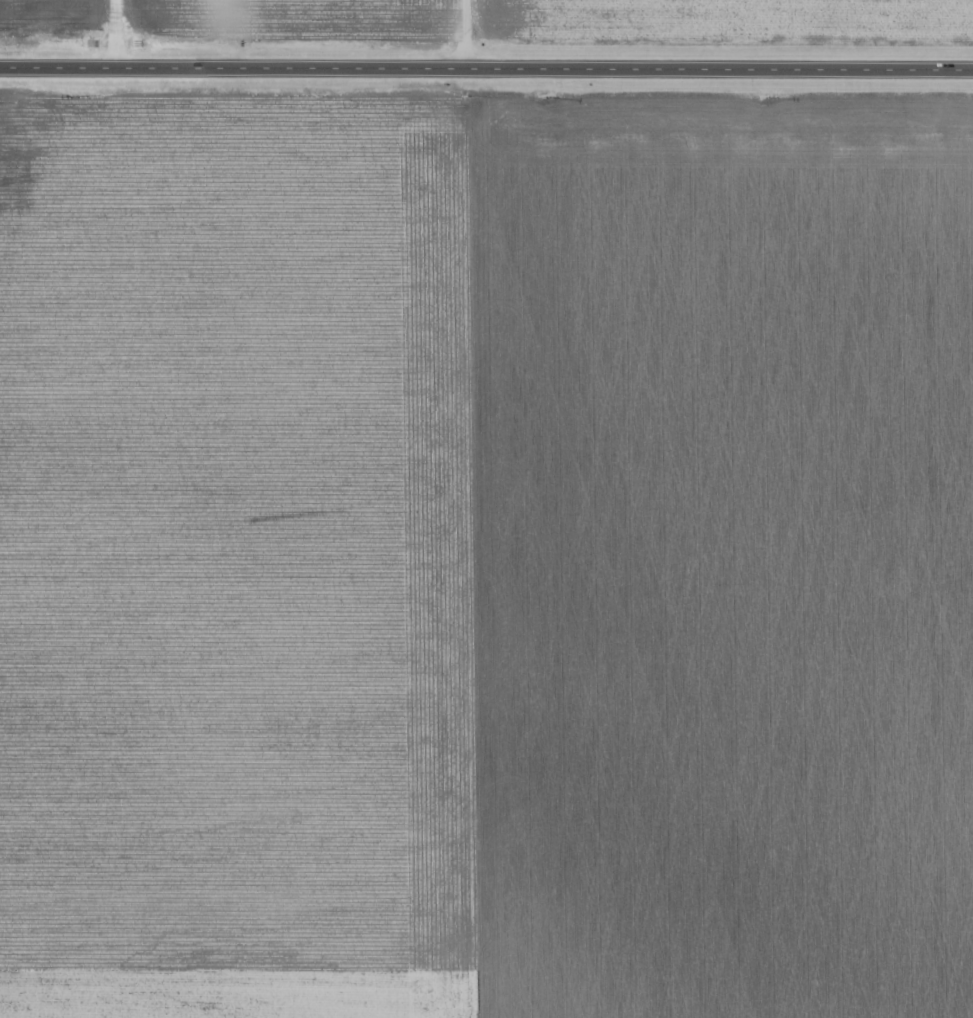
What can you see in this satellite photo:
road: (486, 69)
road: (139, 368)

